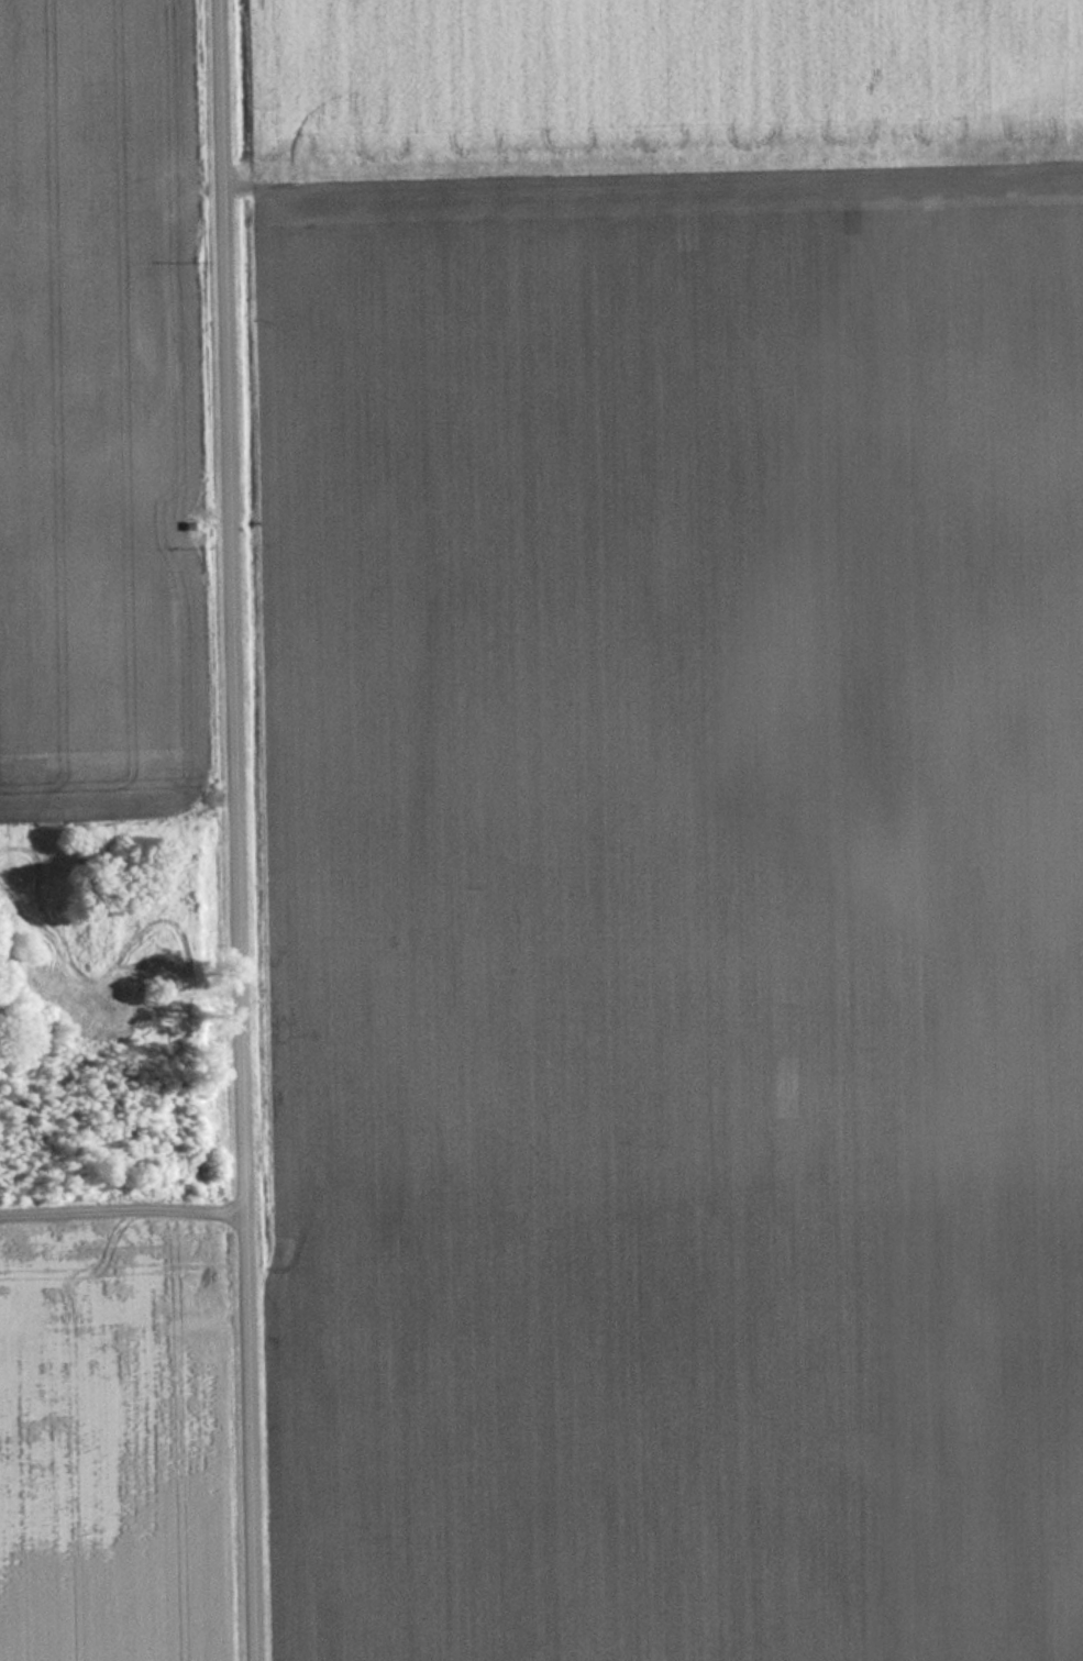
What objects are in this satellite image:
road: (241, 830)
road: (124, 1194)

